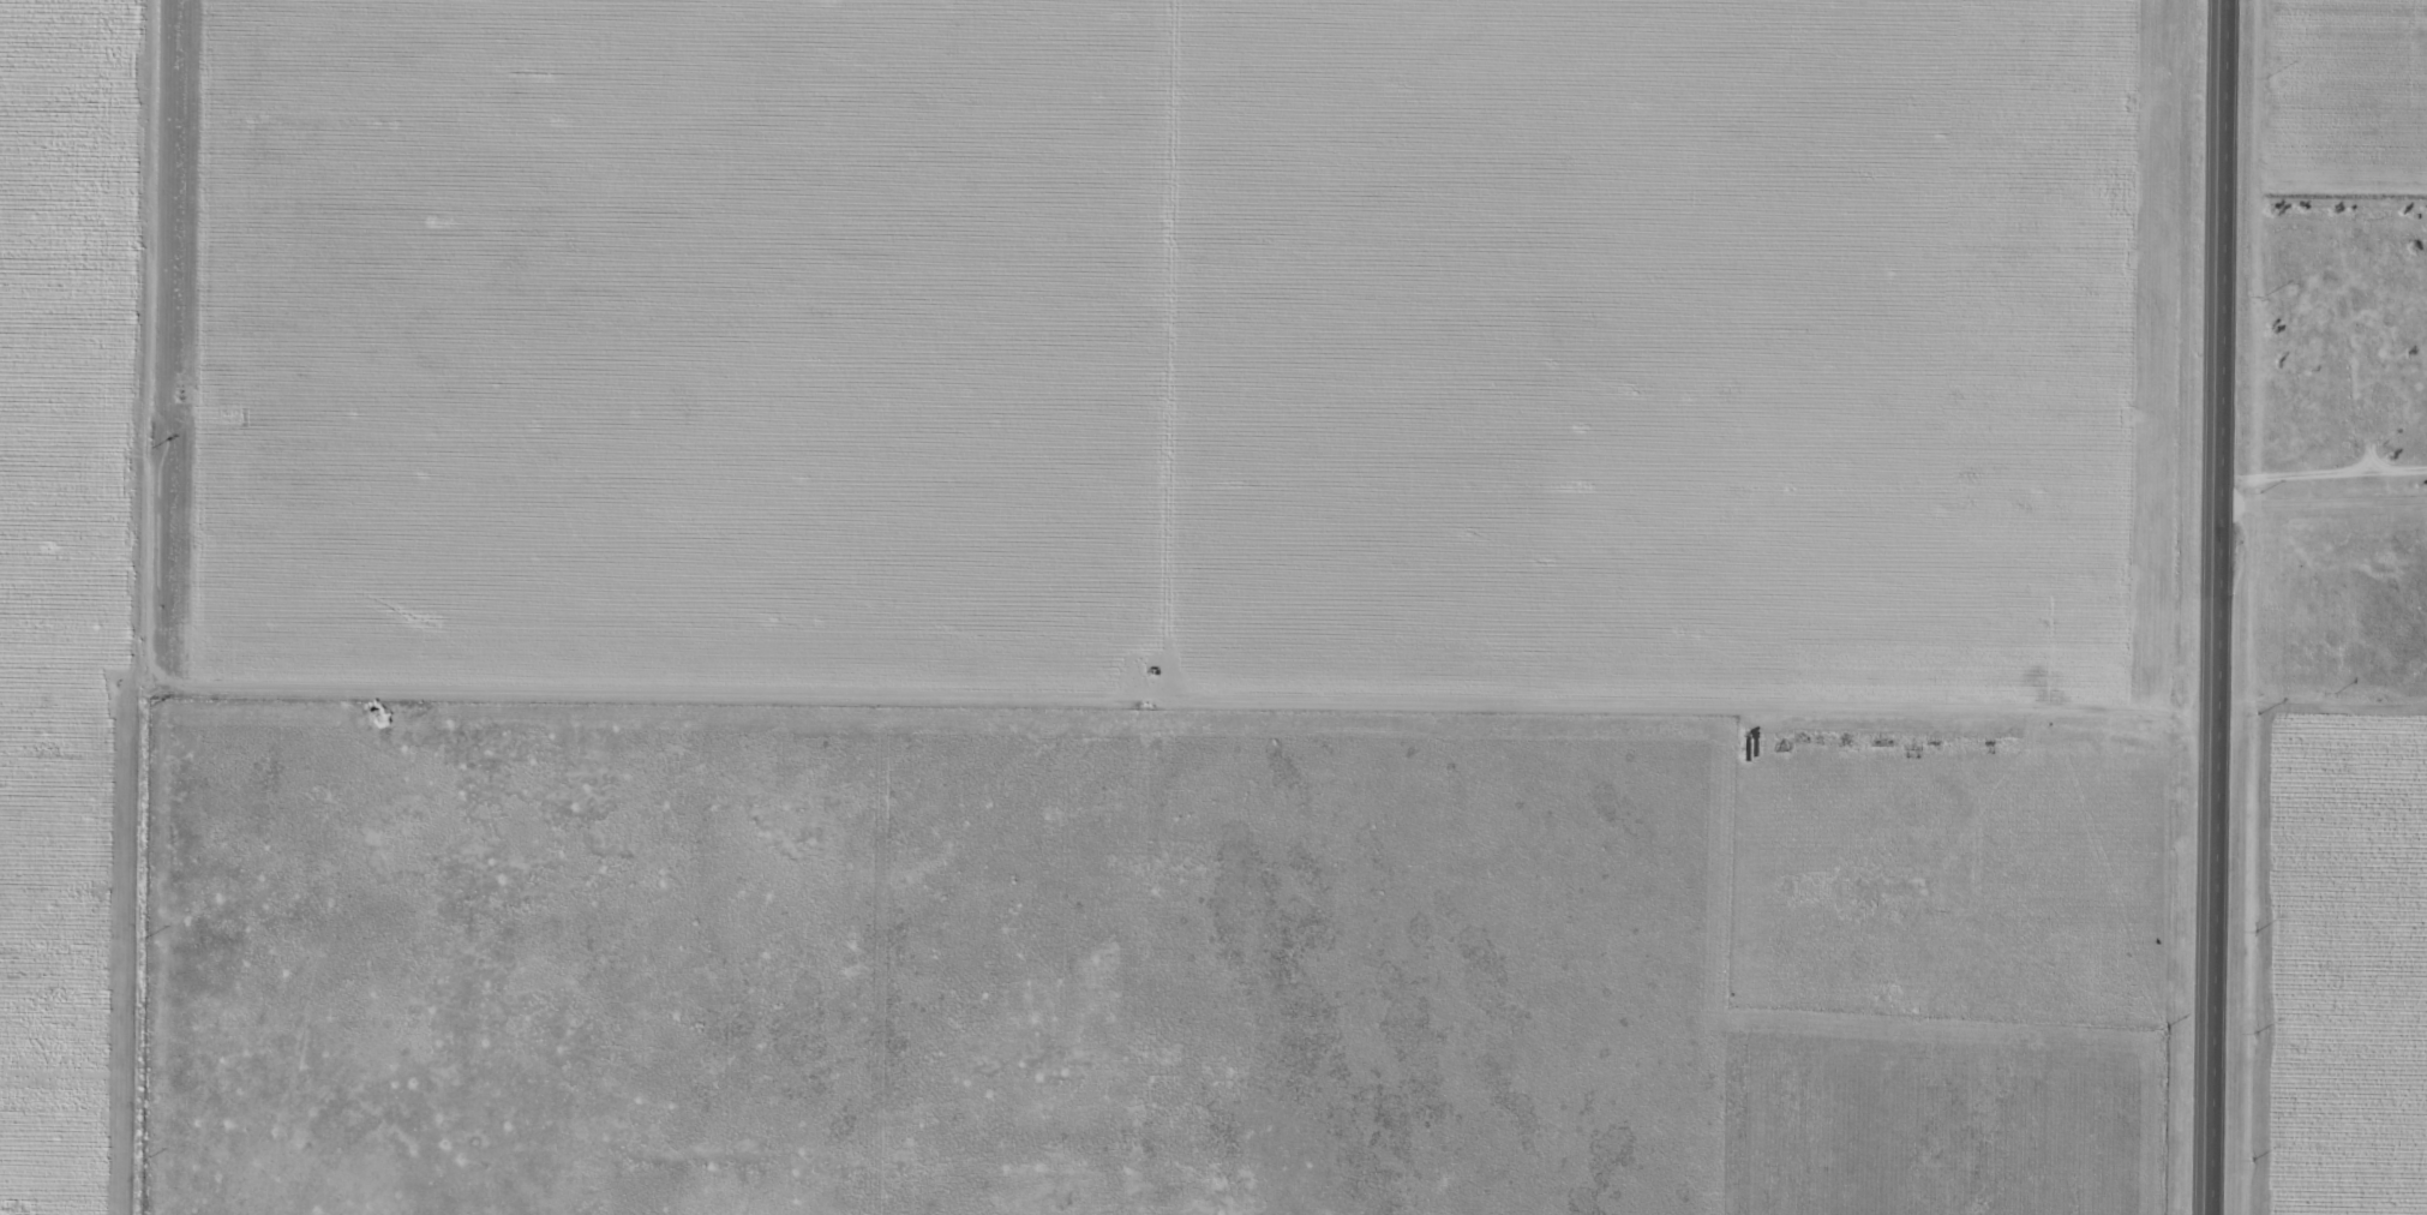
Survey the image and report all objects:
road: (2327, 513)
road: (157, 606)
road: (2227, 606)
road: (1212, 680)

